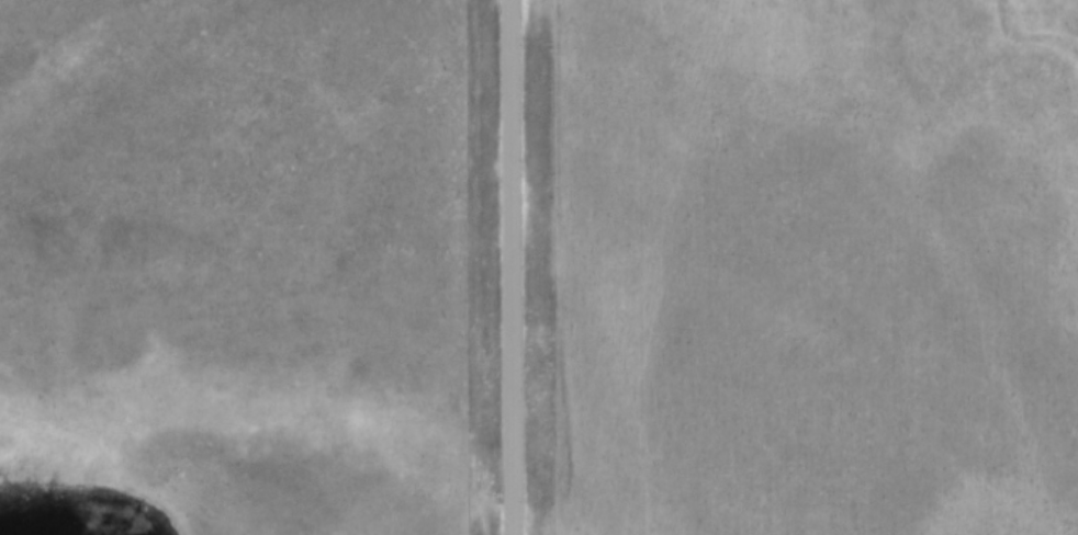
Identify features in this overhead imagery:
road: (507, 267)

